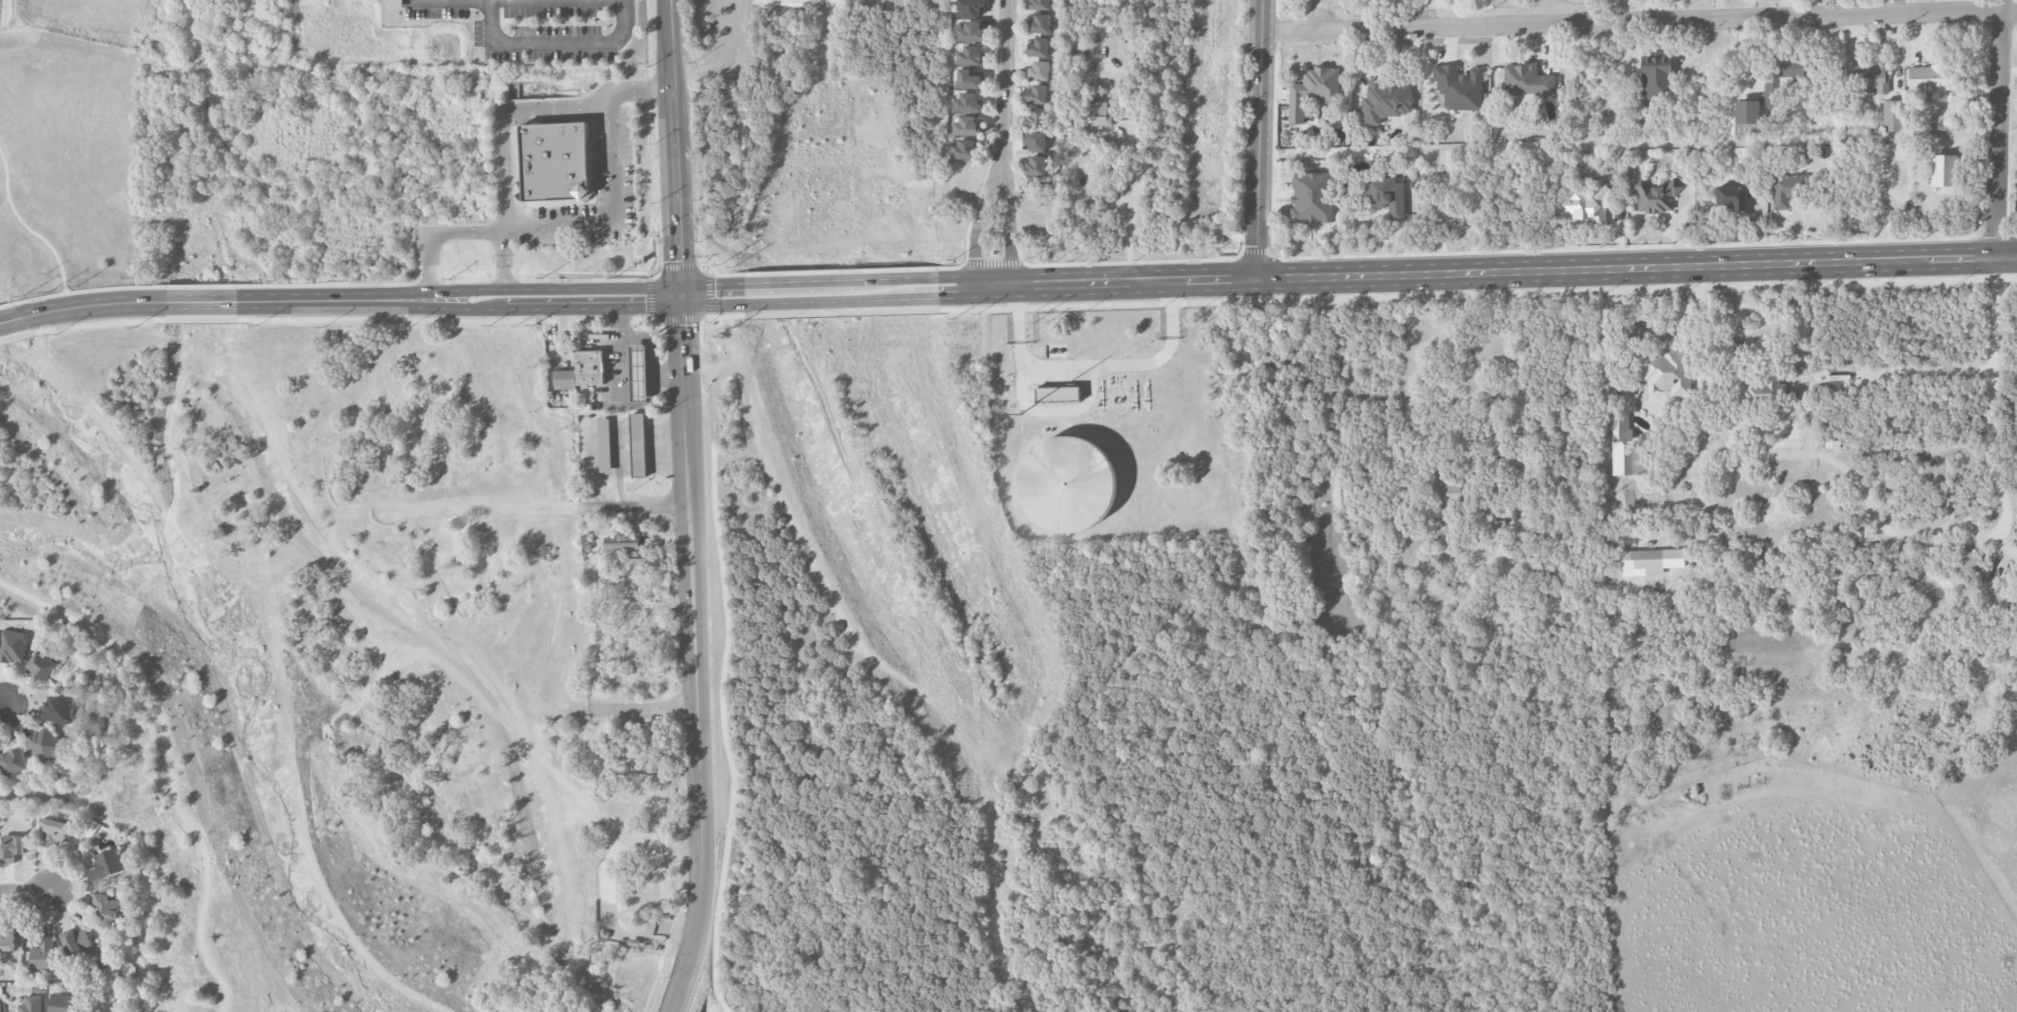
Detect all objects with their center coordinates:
road: (428, 0)
building: (1037, 4)
building: (969, 8)
road: (1639, 21)
building: (1038, 24)
building: (972, 31)
road: (552, 42)
building: (1037, 48)
building: (969, 55)
road: (897, 59)
building: (1037, 71)
building: (1655, 74)
building: (1780, 75)
building: (1864, 75)
building: (969, 79)
building: (1525, 80)
building: (1931, 80)
road: (1001, 82)
building: (1458, 87)
building: (1312, 90)
building: (1035, 94)
building: (1383, 99)
building: (967, 102)
road: (503, 112)
building: (1099, 113)
building: (1891, 114)
building: (1035, 117)
building: (1745, 118)
road: (916, 121)
building: (1949, 124)
building: (967, 125)
road: (1999, 127)
road: (1259, 138)
building: (1034, 140)
road: (677, 148)
building: (966, 149)
building: (559, 162)
building: (1033, 165)
building: (1945, 170)
road: (930, 178)
road: (650, 179)
building: (1786, 188)
building: (1384, 195)
building: (1654, 195)
building: (1310, 197)
building: (1731, 197)
building: (1588, 205)
road: (1130, 208)
road: (549, 224)
road: (977, 224)
road: (1007, 226)
road: (29, 230)
road: (1075, 263)
road: (678, 264)
road: (992, 265)
road: (957, 266)
road: (843, 269)
road: (1476, 271)
road: (714, 272)
road: (458, 282)
road: (204, 285)
road: (554, 287)
road: (82, 290)
road: (706, 291)
road: (840, 293)
road: (1477, 294)
road: (713, 296)
road: (649, 297)
traffic signals: (683, 298)
road: (330, 300)
road: (200, 301)
road: (5, 304)
road: (92, 304)
road: (464, 307)
road: (593, 307)
road: (1175, 310)
road: (841, 312)
road: (1016, 314)
road: (202, 319)
road: (10, 320)
road: (491, 321)
road: (100, 323)
building: (569, 328)
road: (16, 335)
road: (1093, 365)
building: (591, 366)
road: (669, 370)
building: (1664, 370)
building: (641, 371)
gas station: (641, 371)
building: (564, 377)
building: (1763, 389)
building: (1057, 393)
road: (1990, 393)
road: (1804, 403)
road: (636, 406)
road: (1058, 412)
building: (1620, 433)
building: (640, 443)
building: (605, 444)
building: (1066, 484)
storage tank: (1066, 484)
building: (1444, 492)
road: (1872, 508)
road: (636, 509)
building: (620, 542)
building: (1964, 559)
building: (638, 560)
building: (1646, 560)
road: (693, 575)
building: (12, 646)
park: (337, 657)
building: (42, 665)
road: (2, 706)
building: (60, 710)
road: (644, 710)
building: (46, 744)
building: (650, 748)
building: (14, 762)
road: (168, 763)
building: (54, 832)
road: (1308, 840)
building: (11, 847)
road: (673, 854)
building: (107, 864)
road: (25, 894)
building: (106, 906)
road: (994, 917)
road: (696, 934)
building: (6, 938)
building: (79, 943)
building: (42, 955)
building: (60, 1003)
building: (31, 1004)
building: (0, 1007)
building: (108, 1008)

